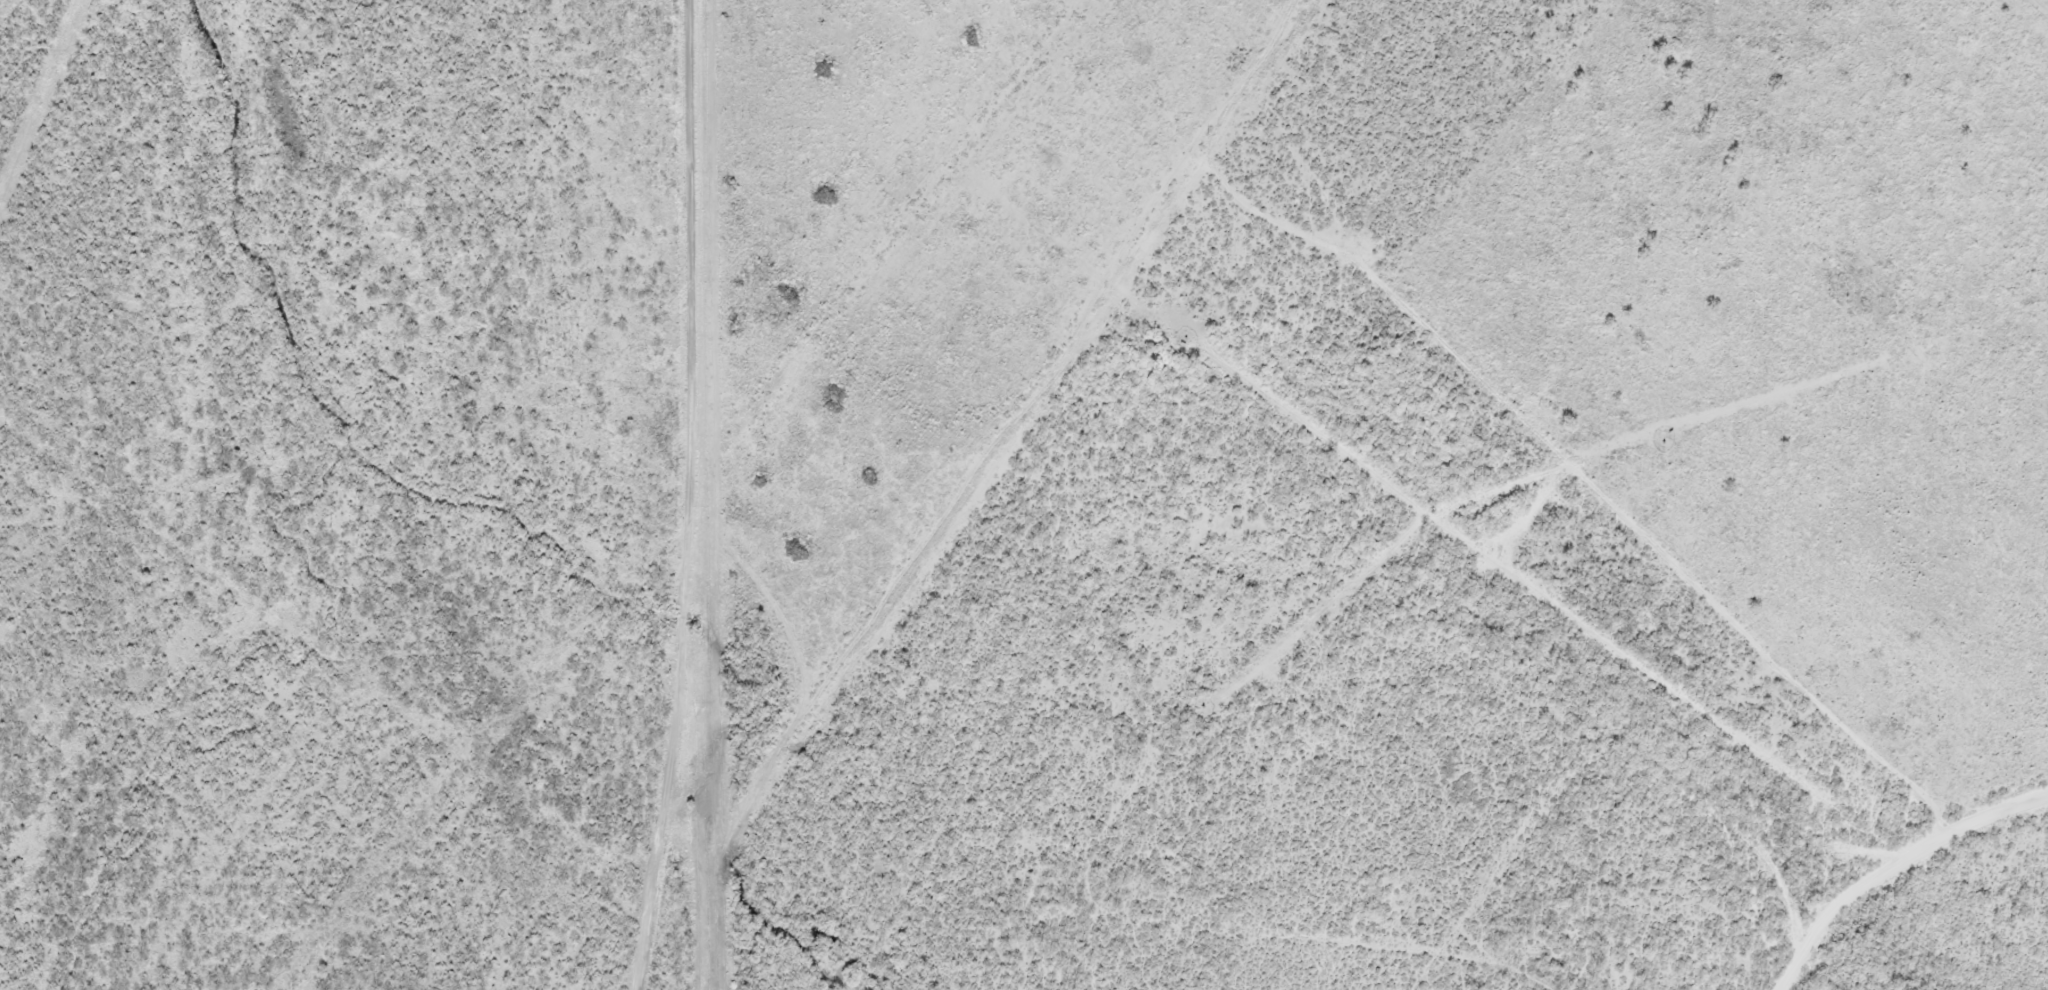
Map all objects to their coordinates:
road: (1891, 864)

